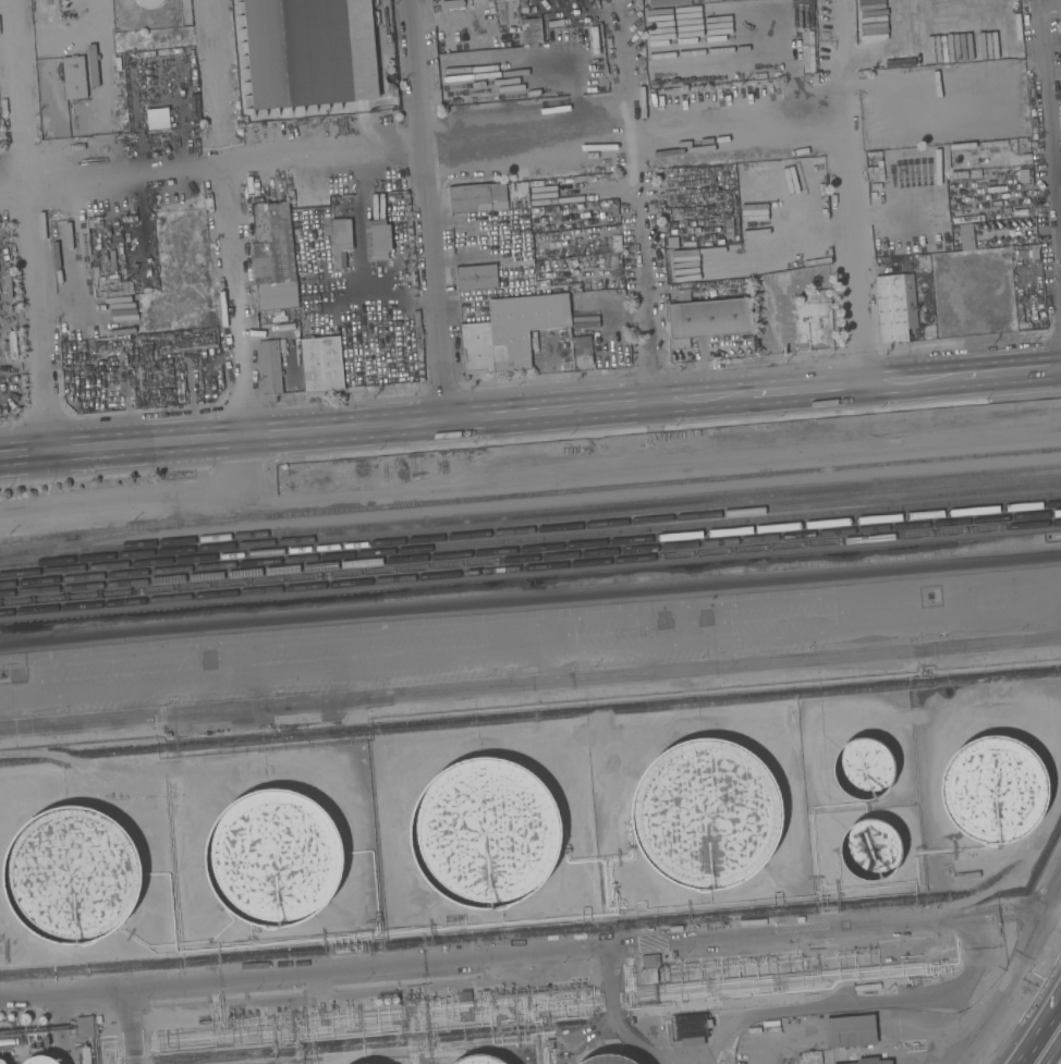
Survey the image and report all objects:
building: (148, 3)
building: (528, 9)
building: (999, 28)
building: (529, 30)
road: (853, 51)
building: (309, 52)
building: (159, 54)
building: (131, 57)
road: (1053, 66)
building: (810, 68)
building: (389, 69)
building: (73, 77)
building: (389, 77)
building: (390, 87)
road: (1050, 110)
building: (158, 119)
road: (424, 147)
building: (958, 149)
building: (1002, 150)
building: (899, 180)
building: (477, 198)
road: (637, 200)
building: (876, 200)
road: (429, 210)
building: (610, 210)
building: (688, 212)
road: (231, 218)
road: (31, 224)
building: (730, 227)
building: (745, 229)
building: (339, 233)
building: (965, 237)
building: (376, 240)
building: (671, 242)
road: (857, 242)
building: (1019, 250)
building: (613, 253)
building: (1035, 255)
building: (273, 257)
building: (95, 271)
building: (476, 278)
road: (380, 288)
building: (895, 306)
building: (707, 319)
building: (815, 321)
building: (516, 330)
building: (12, 344)
building: (109, 345)
building: (582, 351)
building: (320, 359)
building: (271, 366)
road: (1007, 369)
road: (910, 378)
road: (805, 387)
building: (180, 388)
road: (371, 427)
railway: (529, 494)
road: (141, 497)
railway: (529, 512)
railway: (530, 521)
railway: (530, 530)
railway: (85, 539)
railway: (530, 540)
railway: (530, 549)
railway: (530, 558)
railway: (530, 567)
road: (529, 597)
road: (529, 683)
building: (863, 769)
storage tank: (863, 769)
building: (992, 790)
storage tank: (992, 790)
building: (705, 815)
storage tank: (705, 815)
building: (485, 833)
storage tank: (485, 833)
building: (869, 849)
storage tank: (869, 849)
building: (273, 858)
storage tank: (273, 858)
building: (71, 876)
storage tank: (71, 876)
building: (800, 919)
building: (753, 922)
road: (826, 931)
building: (904, 934)
building: (887, 959)
road: (370, 968)
building: (649, 968)
road: (1014, 971)
building: (464, 996)
building: (394, 1000)
storage tank: (394, 1000)
building: (377, 1001)
storage tank: (377, 1001)
building: (386, 1001)
storage tank: (386, 1001)
building: (24, 1018)
storage tank: (24, 1018)
building: (41, 1019)
storage tank: (41, 1019)
building: (8, 1020)
building: (631, 1020)
road: (129, 1025)
building: (84, 1027)
building: (692, 1029)
building: (850, 1031)
road: (1041, 1031)
road: (1053, 1053)
building: (85, 1055)
building: (810, 1057)
building: (40, 1060)
storage tank: (40, 1060)
building: (478, 1060)
storage tank: (478, 1060)
building: (607, 1060)
storage tank: (607, 1060)
building: (871, 1061)
building: (1, 1062)
storage tank: (1, 1062)

